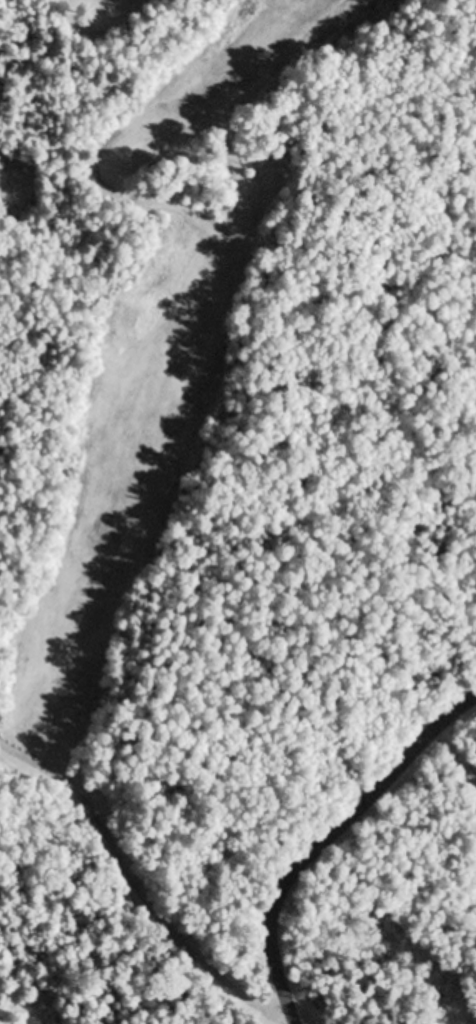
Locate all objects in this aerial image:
park: (152, 347)
road: (325, 844)

